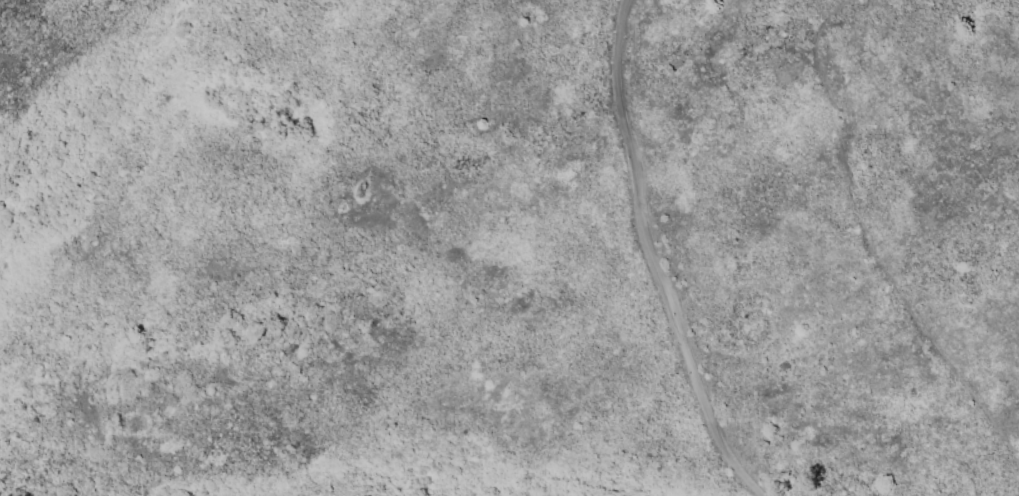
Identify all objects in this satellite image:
road: (650, 258)

